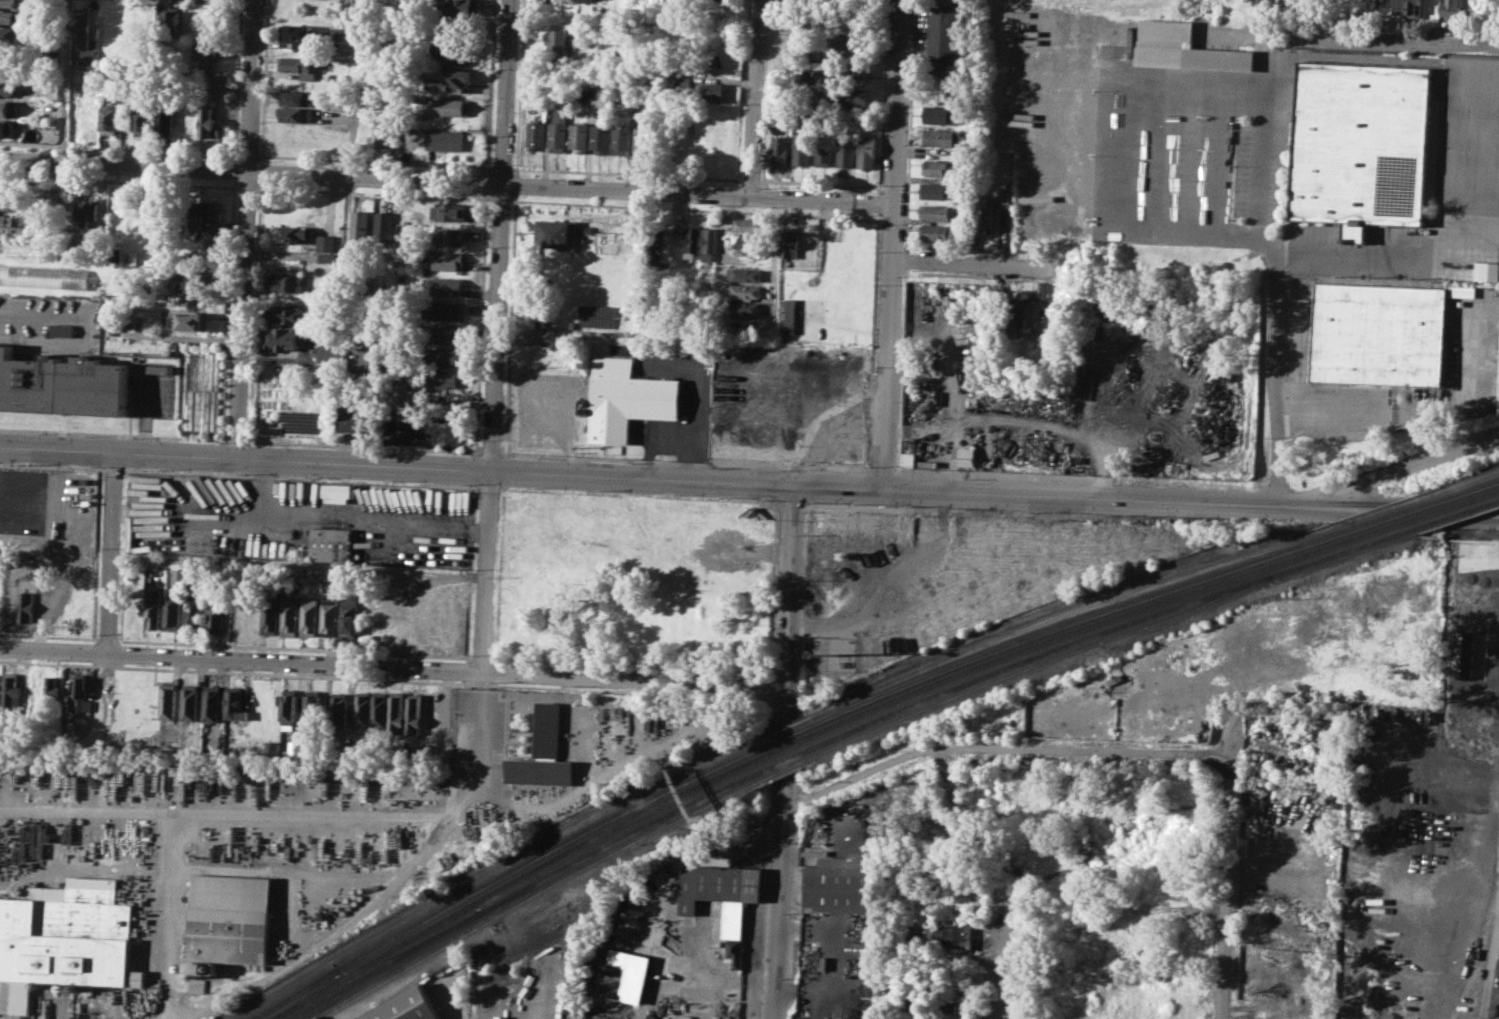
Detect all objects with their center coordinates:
building: (718, 0)
building: (944, 2)
building: (10, 3)
building: (466, 6)
building: (1406, 6)
building: (1456, 8)
building: (172, 13)
road: (1292, 16)
building: (11, 18)
building: (462, 26)
building: (948, 30)
building: (296, 33)
building: (339, 33)
building: (85, 35)
road: (1350, 35)
building: (12, 37)
building: (559, 39)
building: (1185, 47)
building: (455, 51)
building: (205, 55)
building: (300, 66)
building: (8, 68)
building: (941, 69)
building: (852, 73)
road: (1479, 75)
building: (450, 79)
building: (601, 79)
road: (65, 81)
building: (684, 83)
road: (1105, 83)
building: (7, 88)
building: (713, 91)
building: (298, 97)
road: (754, 97)
building: (852, 97)
building: (451, 106)
building: (8, 108)
building: (940, 113)
building: (295, 115)
building: (110, 119)
building: (165, 120)
building: (142, 122)
building: (208, 123)
building: (6, 128)
building: (558, 132)
building: (381, 133)
building: (536, 135)
building: (600, 136)
building: (579, 137)
building: (942, 137)
building: (445, 139)
building: (622, 140)
building: (643, 140)
building: (1361, 146)
building: (781, 147)
road: (1433, 148)
building: (803, 150)
building: (825, 150)
building: (846, 151)
building: (867, 151)
building: (942, 167)
road: (632, 173)
road: (445, 182)
road: (805, 182)
building: (5, 185)
building: (936, 190)
building: (1005, 198)
building: (5, 203)
building: (450, 210)
building: (938, 211)
building: (86, 213)
building: (985, 213)
building: (197, 215)
building: (213, 217)
building: (5, 220)
building: (748, 225)
building: (361, 227)
building: (385, 227)
road: (243, 228)
building: (557, 232)
building: (936, 232)
building: (292, 233)
building: (450, 236)
building: (691, 241)
building: (747, 241)
building: (326, 242)
road: (890, 242)
building: (208, 243)
building: (709, 243)
building: (791, 244)
road: (1276, 248)
building: (660, 249)
building: (134, 257)
building: (326, 257)
building: (446, 260)
road: (776, 264)
road: (970, 265)
building: (1487, 272)
building: (745, 273)
building: (44, 276)
building: (191, 281)
building: (284, 283)
building: (445, 285)
building: (1052, 289)
building: (747, 291)
building: (1462, 291)
building: (190, 301)
building: (746, 308)
building: (444, 310)
building: (289, 314)
building: (1028, 314)
building: (790, 315)
building: (1012, 315)
building: (190, 320)
building: (62, 328)
building: (446, 334)
road: (496, 335)
building: (540, 335)
building: (1377, 335)
building: (329, 336)
road: (183, 337)
building: (282, 338)
building: (329, 352)
building: (444, 356)
building: (161, 368)
building: (442, 377)
building: (62, 383)
building: (796, 388)
building: (628, 398)
building: (355, 412)
road: (1359, 412)
building: (300, 421)
building: (742, 440)
building: (966, 456)
building: (908, 459)
road: (397, 463)
road: (1398, 469)
road: (839, 484)
building: (338, 491)
road: (1091, 494)
building: (16, 496)
road: (1490, 514)
parking lot: (296, 519)
building: (830, 524)
building: (330, 543)
road: (112, 551)
road: (299, 565)
building: (178, 576)
building: (11, 604)
road: (789, 604)
building: (27, 605)
building: (152, 609)
building: (172, 612)
building: (194, 612)
building: (216, 613)
building: (270, 614)
building: (290, 615)
building: (350, 615)
building: (310, 616)
building: (330, 617)
road: (393, 666)
railway: (979, 677)
railway: (900, 685)
building: (11, 690)
building: (50, 690)
building: (80, 695)
building: (167, 701)
building: (189, 702)
building: (235, 702)
building: (211, 703)
building: (313, 708)
building: (363, 708)
building: (339, 710)
building: (397, 710)
building: (380, 711)
railway: (866, 711)
building: (288, 712)
building: (415, 713)
road: (476, 741)
building: (272, 747)
building: (295, 748)
road: (1006, 749)
building: (545, 753)
railway: (782, 769)
road: (232, 814)
building: (839, 883)
building: (721, 896)
road: (1226, 896)
road: (779, 898)
road: (171, 900)
building: (229, 919)
building: (948, 935)
road: (325, 936)
building: (65, 940)
road: (995, 957)
railway: (379, 964)
railway: (386, 964)
building: (622, 974)
building: (195, 985)
railway: (293, 994)
railway: (297, 994)
road: (167, 1002)
building: (407, 1005)
building: (948, 1006)

